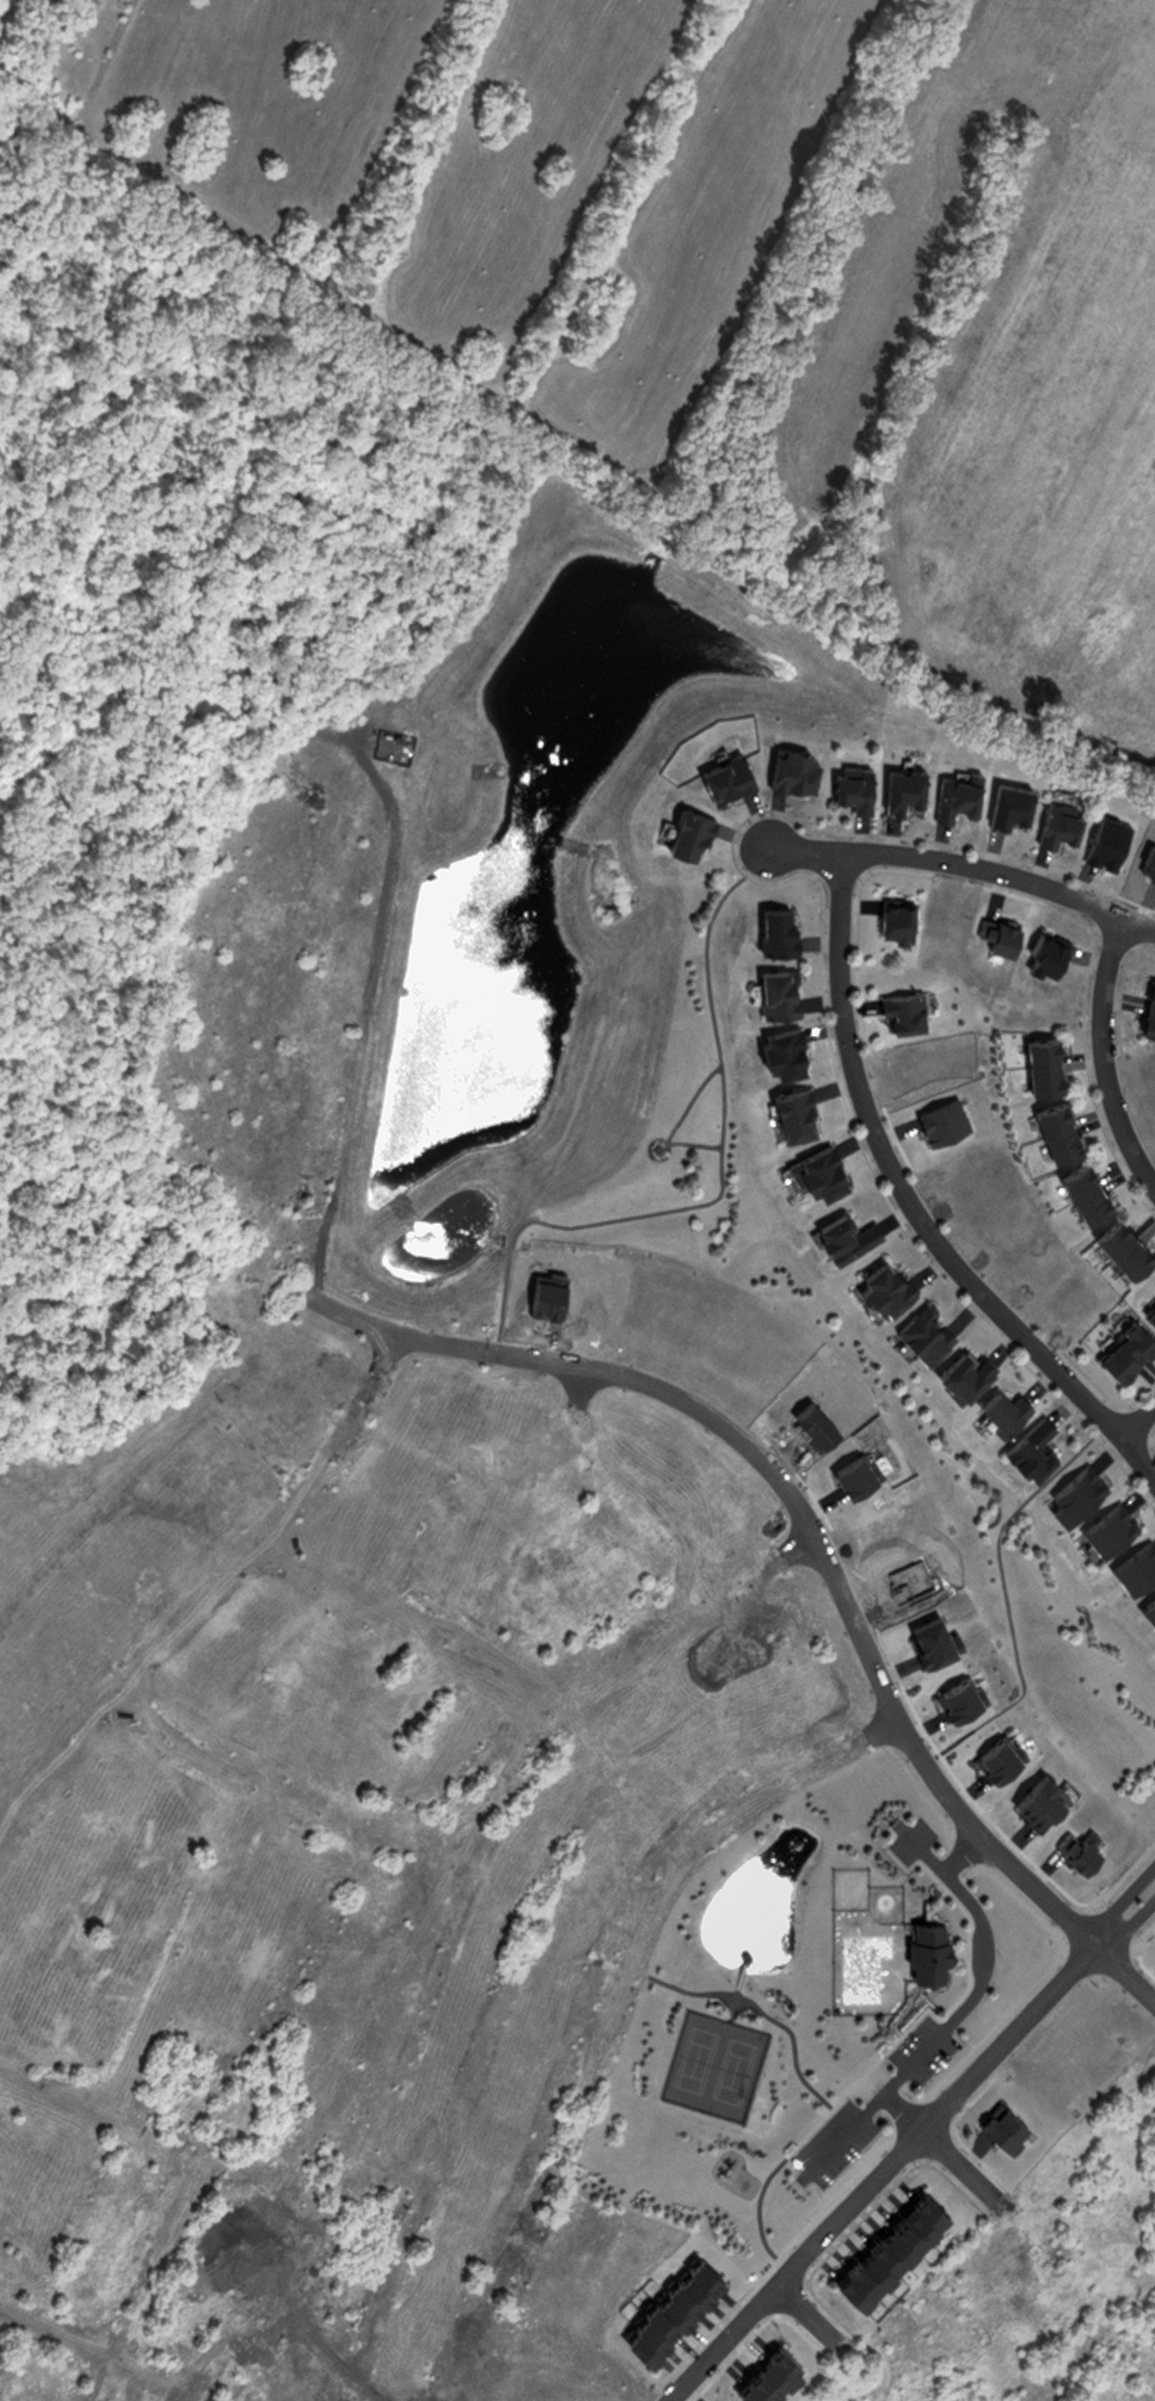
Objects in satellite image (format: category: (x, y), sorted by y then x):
building: (791, 768)
building: (723, 776)
building: (852, 786)
building: (903, 788)
building: (956, 796)
building: (1009, 803)
building: (1058, 822)
building: (687, 832)
building: (1106, 840)
road: (967, 864)
building: (897, 920)
building: (778, 930)
building: (1048, 953)
building: (779, 992)
building: (1148, 1009)
building: (904, 1012)
building: (781, 1052)
road: (1105, 1054)
building: (1043, 1062)
building: (793, 1113)
building: (1056, 1129)
building: (817, 1171)
building: (1082, 1190)
road: (911, 1203)
building: (844, 1233)
building: (1122, 1247)
building: (881, 1285)
building: (1150, 1315)
building: (923, 1330)
building: (1124, 1349)
road: (381, 1360)
building: (964, 1371)
building: (1001, 1408)
road: (1139, 1421)
building: (1030, 1446)
building: (1074, 1493)
building: (1107, 1527)
road: (816, 1530)
building: (1135, 1566)
building: (1148, 1610)
parking lot: (913, 1836)
road: (963, 1851)
road: (1120, 1898)
road: (1128, 1923)
building: (927, 1949)
road: (957, 2009)
parking lot: (923, 2047)
park: (715, 2060)
road: (904, 2107)
parking lot: (835, 2139)
road: (959, 2162)
road: (880, 2172)
building: (885, 2244)
building: (672, 2307)
road: (810, 2314)

